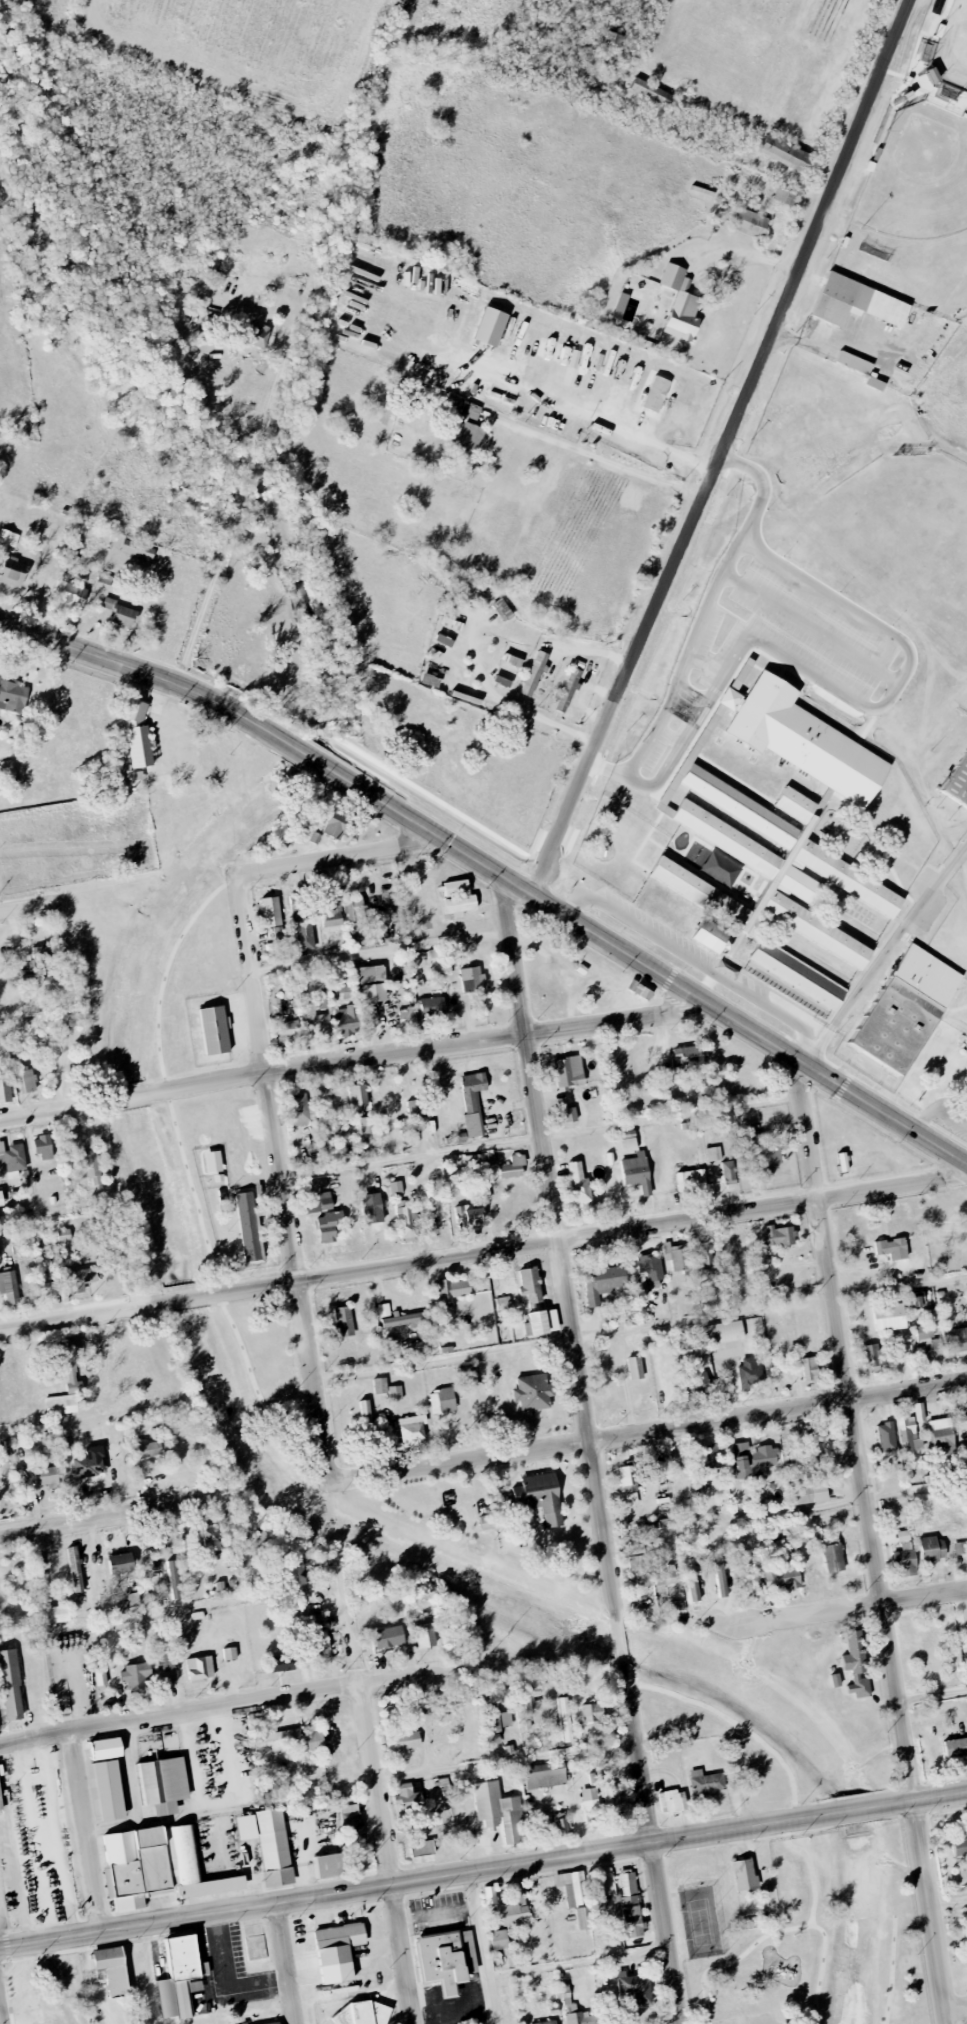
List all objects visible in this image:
building: (932, 75)
building: (947, 91)
building: (651, 92)
building: (786, 153)
building: (785, 196)
building: (751, 223)
road: (745, 255)
building: (858, 302)
building: (681, 304)
building: (621, 305)
building: (490, 331)
building: (258, 336)
building: (558, 353)
building: (854, 363)
building: (875, 383)
road: (550, 394)
building: (656, 394)
building: (470, 410)
building: (468, 441)
road: (724, 449)
road: (250, 486)
road: (758, 489)
building: (6, 537)
building: (137, 551)
building: (13, 572)
building: (104, 581)
building: (70, 596)
building: (502, 609)
building: (119, 613)
building: (451, 623)
road: (808, 630)
building: (444, 640)
parking lot: (772, 644)
road: (905, 649)
building: (512, 660)
road: (138, 671)
building: (535, 673)
building: (502, 681)
building: (568, 689)
building: (12, 695)
building: (801, 734)
building: (138, 735)
road: (318, 764)
building: (5, 769)
building: (955, 774)
building: (336, 823)
building: (316, 837)
road: (334, 856)
building: (721, 869)
building: (770, 879)
building: (459, 897)
road: (29, 904)
building: (357, 909)
building: (271, 911)
building: (332, 913)
building: (304, 936)
road: (881, 952)
road: (381, 954)
road: (692, 961)
building: (42, 963)
building: (472, 979)
road: (666, 980)
building: (372, 983)
building: (639, 985)
building: (322, 1000)
road: (65, 1004)
building: (902, 1004)
building: (432, 1008)
building: (407, 1017)
building: (350, 1019)
building: (215, 1030)
building: (288, 1030)
road: (427, 1051)
building: (690, 1058)
building: (965, 1066)
building: (568, 1075)
building: (27, 1080)
building: (473, 1089)
building: (5, 1090)
building: (357, 1097)
road: (122, 1100)
building: (301, 1110)
road: (48, 1111)
road: (937, 1113)
building: (570, 1114)
building: (414, 1138)
road: (542, 1139)
building: (43, 1147)
road: (185, 1153)
building: (714, 1154)
building: (766, 1155)
building: (12, 1157)
building: (843, 1161)
building: (87, 1165)
building: (513, 1167)
building: (637, 1172)
building: (729, 1172)
road: (284, 1177)
building: (691, 1180)
building: (396, 1187)
building: (581, 1187)
building: (1, 1199)
building: (435, 1200)
building: (320, 1203)
road: (59, 1213)
building: (468, 1217)
building: (405, 1219)
building: (248, 1226)
building: (329, 1226)
road: (586, 1234)
building: (780, 1237)
building: (892, 1248)
road: (560, 1251)
building: (667, 1251)
building: (679, 1258)
building: (704, 1258)
building: (651, 1267)
building: (79, 1280)
building: (45, 1282)
building: (603, 1283)
building: (531, 1284)
building: (8, 1285)
building: (449, 1292)
road: (184, 1299)
building: (384, 1310)
road: (82, 1315)
building: (889, 1317)
building: (405, 1319)
building: (345, 1321)
building: (542, 1322)
road: (642, 1330)
building: (725, 1332)
building: (956, 1340)
building: (929, 1341)
building: (872, 1355)
building: (73, 1367)
building: (809, 1367)
building: (635, 1368)
building: (750, 1373)
building: (469, 1378)
building: (696, 1383)
building: (380, 1386)
building: (395, 1392)
building: (533, 1393)
park: (246, 1395)
building: (442, 1401)
building: (61, 1404)
building: (365, 1411)
building: (940, 1428)
building: (412, 1429)
building: (911, 1430)
road: (649, 1433)
building: (886, 1437)
building: (965, 1445)
building: (816, 1446)
building: (149, 1449)
building: (713, 1456)
building: (753, 1460)
building: (91, 1463)
building: (676, 1465)
building: (658, 1470)
building: (792, 1472)
building: (46, 1476)
building: (629, 1486)
building: (810, 1493)
building: (540, 1497)
road: (786, 1512)
road: (102, 1520)
building: (486, 1522)
building: (666, 1522)
building: (211, 1536)
road: (874, 1545)
building: (960, 1548)
building: (932, 1549)
building: (833, 1554)
building: (905, 1555)
building: (121, 1563)
building: (75, 1569)
building: (300, 1572)
building: (40, 1574)
building: (642, 1574)
building: (665, 1576)
building: (174, 1579)
building: (721, 1579)
building: (782, 1579)
building: (692, 1580)
building: (134, 1601)
road: (843, 1609)
building: (53, 1616)
building: (966, 1626)
building: (425, 1636)
building: (387, 1637)
road: (620, 1643)
building: (323, 1645)
building: (229, 1654)
road: (355, 1661)
building: (283, 1664)
building: (856, 1665)
building: (166, 1667)
building: (200, 1668)
building: (135, 1675)
building: (100, 1677)
building: (835, 1681)
building: (10, 1686)
road: (933, 1698)
road: (276, 1701)
building: (596, 1712)
building: (497, 1717)
building: (565, 1720)
building: (279, 1735)
building: (314, 1738)
building: (404, 1741)
building: (956, 1748)
building: (106, 1749)
road: (504, 1761)
building: (545, 1775)
building: (592, 1779)
building: (707, 1783)
building: (163, 1785)
building: (106, 1791)
building: (408, 1797)
building: (613, 1800)
road: (921, 1801)
building: (590, 1802)
building: (1, 1803)
building: (672, 1803)
building: (499, 1812)
road: (856, 1812)
building: (561, 1825)
building: (352, 1828)
road: (84, 1834)
road: (651, 1843)
building: (268, 1844)
building: (422, 1848)
road: (386, 1856)
building: (330, 1866)
building: (157, 1867)
building: (745, 1875)
road: (417, 1882)
building: (571, 1886)
building: (628, 1887)
building: (490, 1896)
building: (605, 1906)
road: (948, 1907)
building: (510, 1912)
road: (436, 1914)
building: (582, 1918)
building: (633, 1921)
park: (799, 1926)
building: (499, 1939)
building: (333, 1943)
road: (482, 1949)
building: (108, 1957)
building: (447, 1959)
road: (285, 1965)
building: (181, 1976)
building: (117, 1981)
building: (635, 1987)
road: (956, 2010)
building: (363, 2014)
building: (579, 2016)
road: (0, 2021)
building: (271, 2022)
building: (544, 2022)

